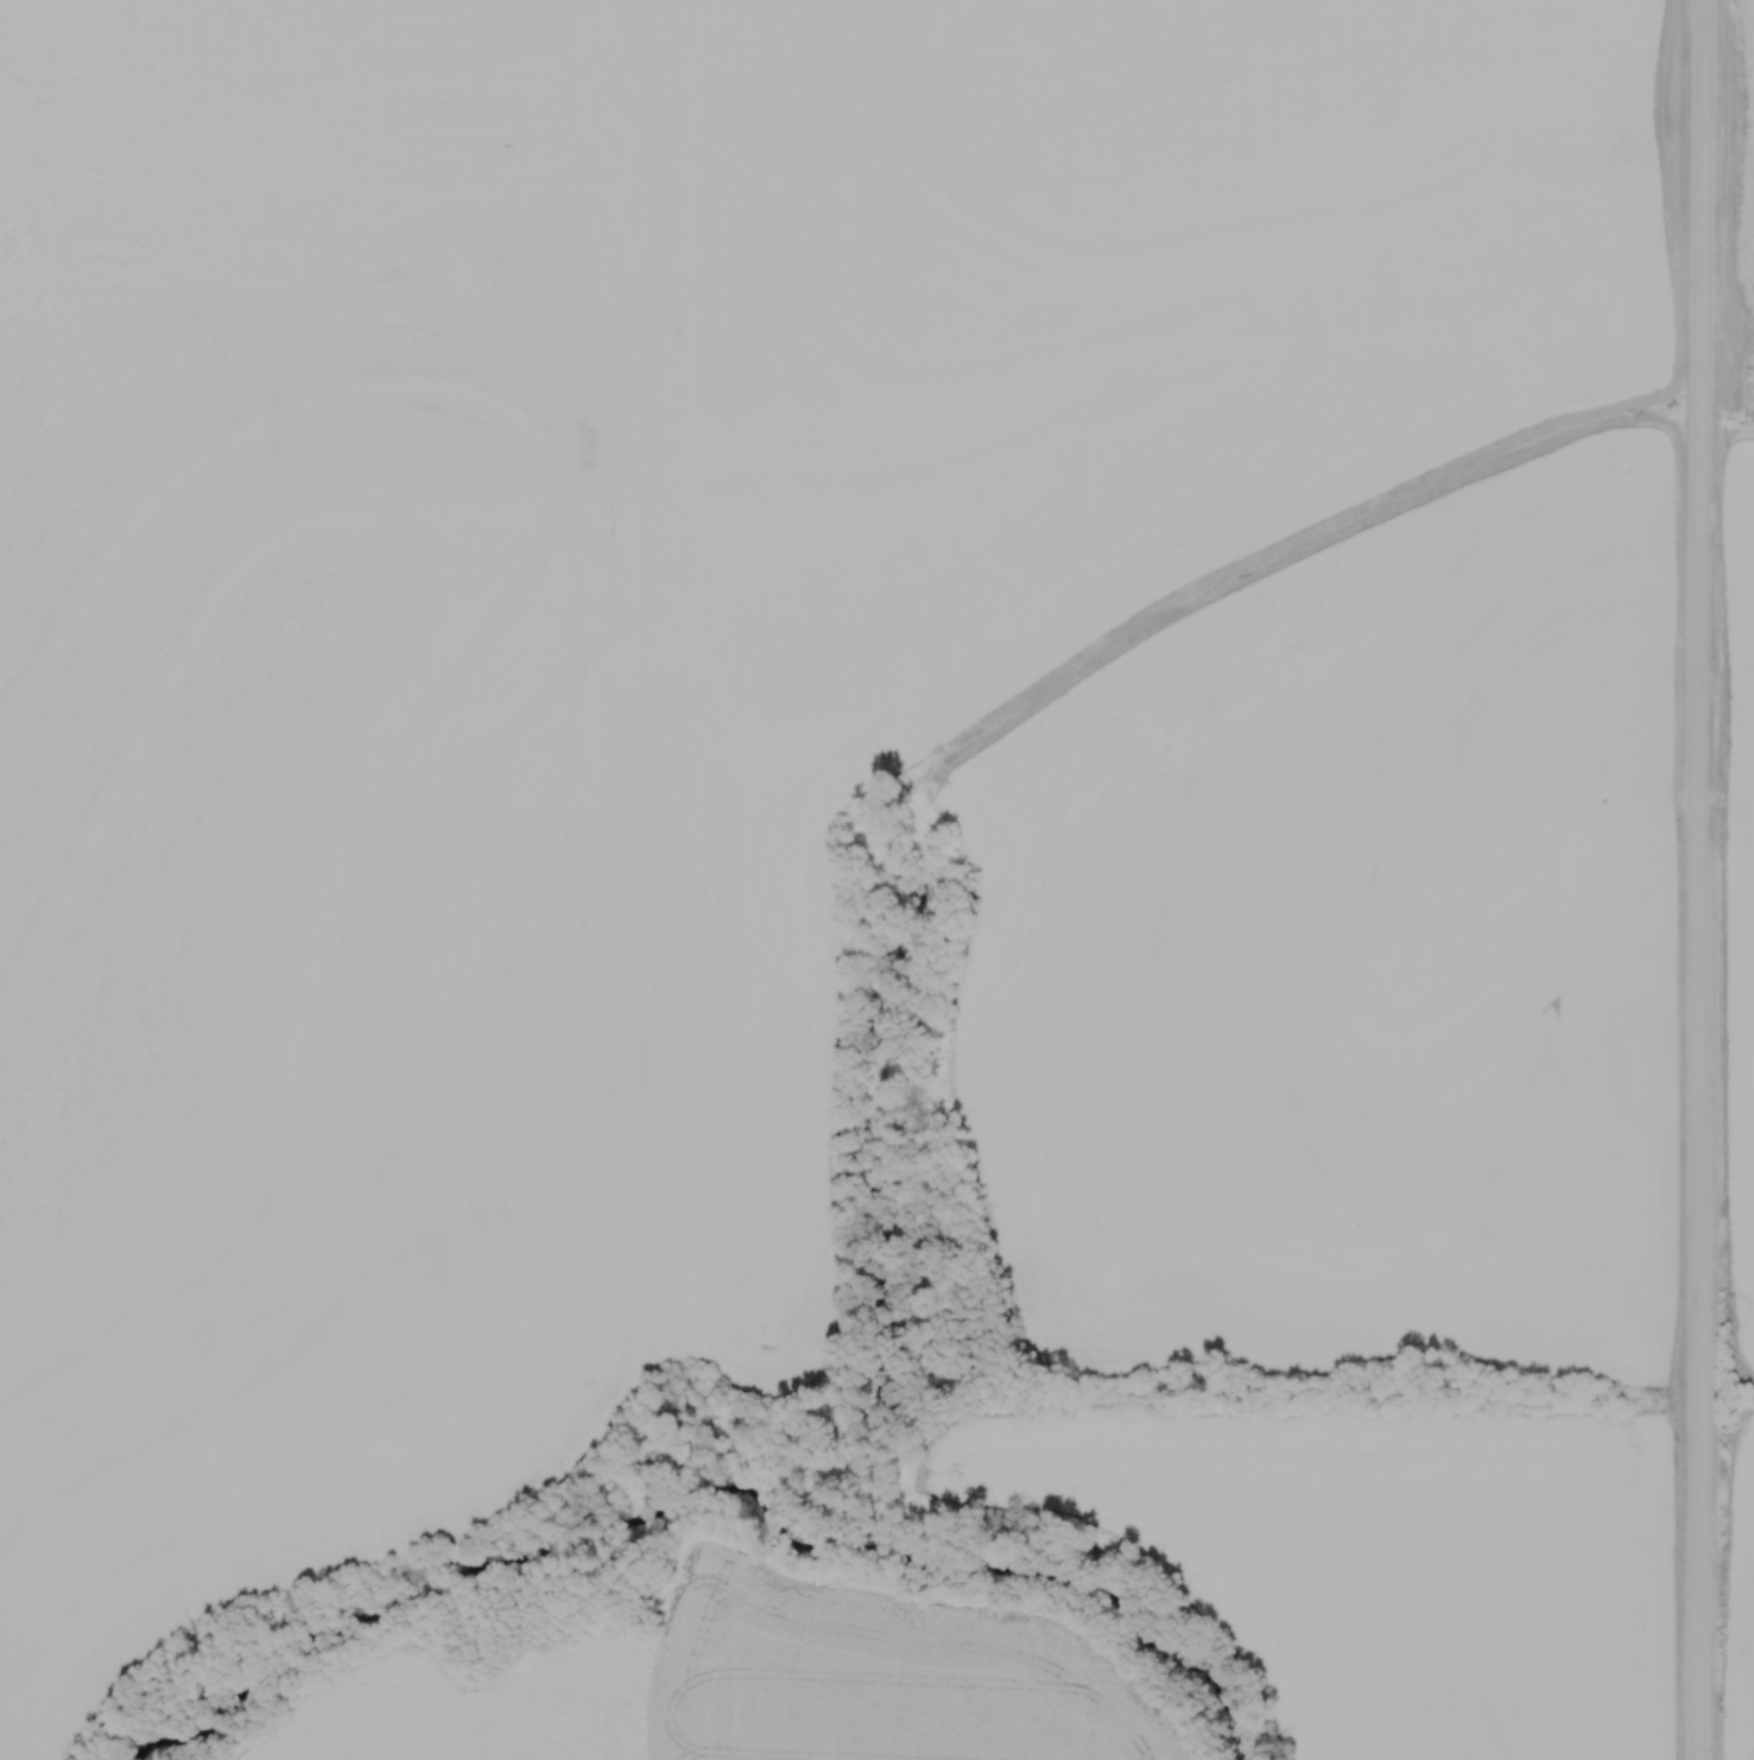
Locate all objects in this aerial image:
road: (1699, 880)

